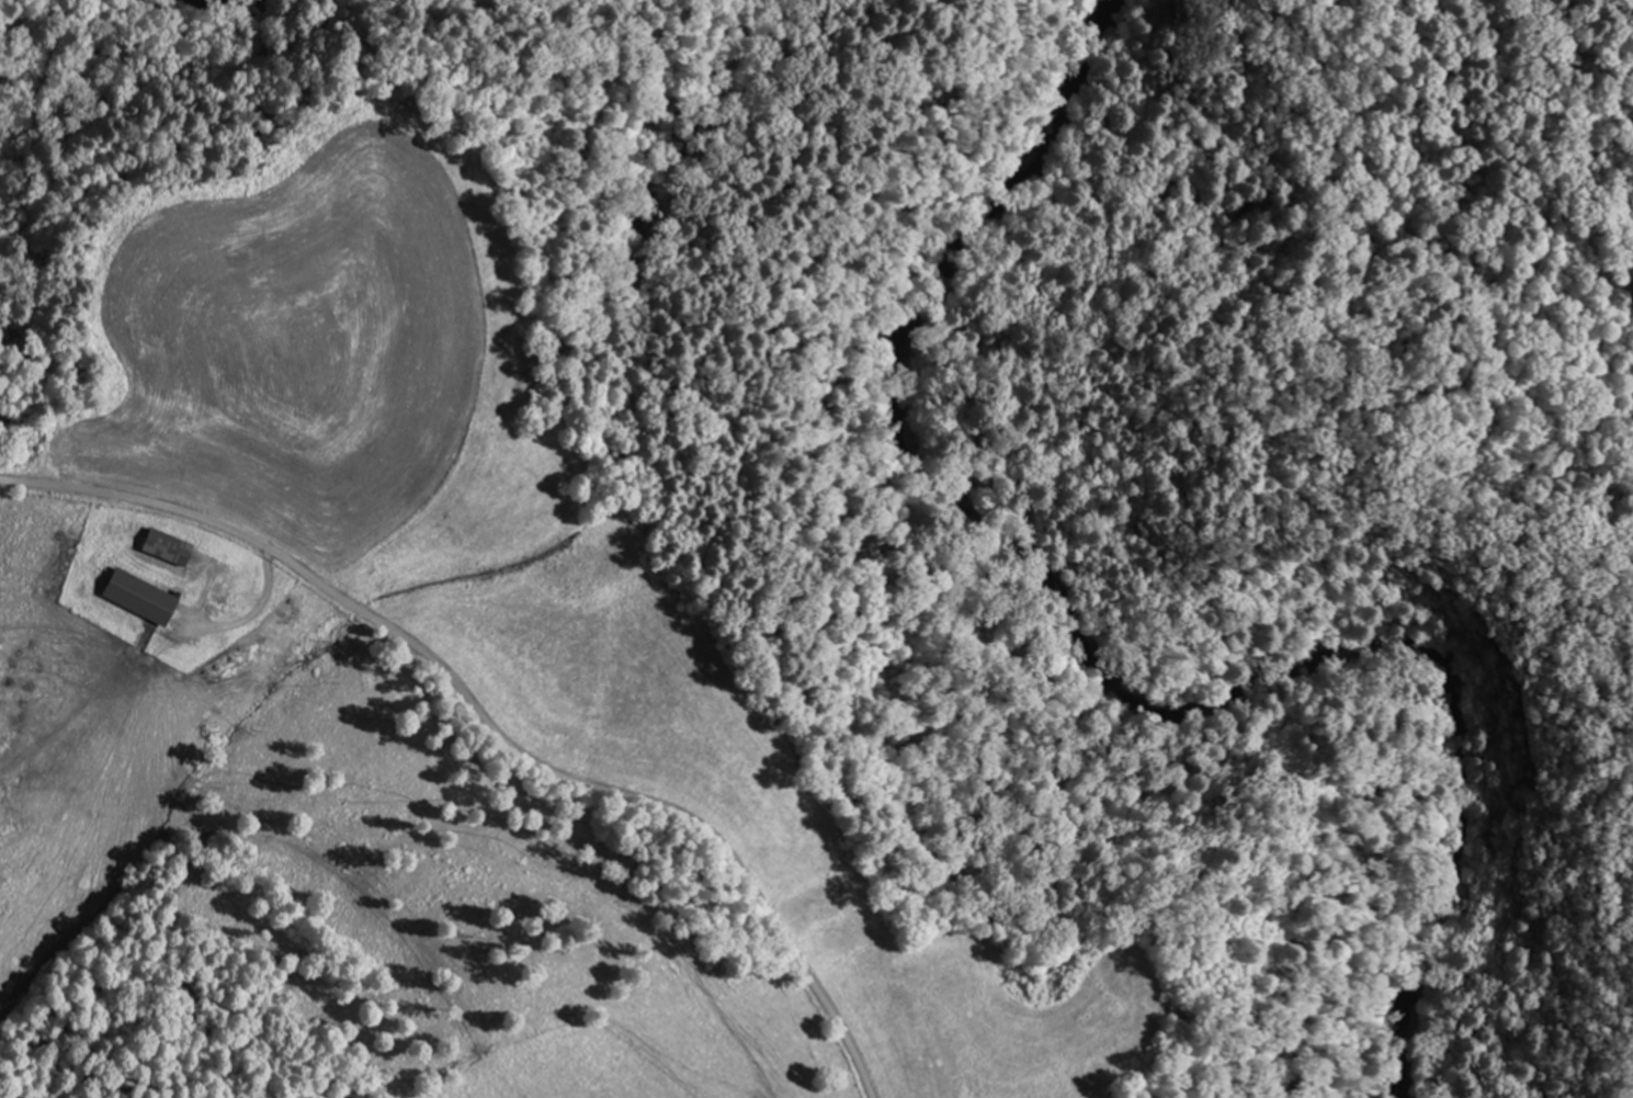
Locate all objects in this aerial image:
building: (162, 547)
building: (135, 597)
road: (488, 723)

